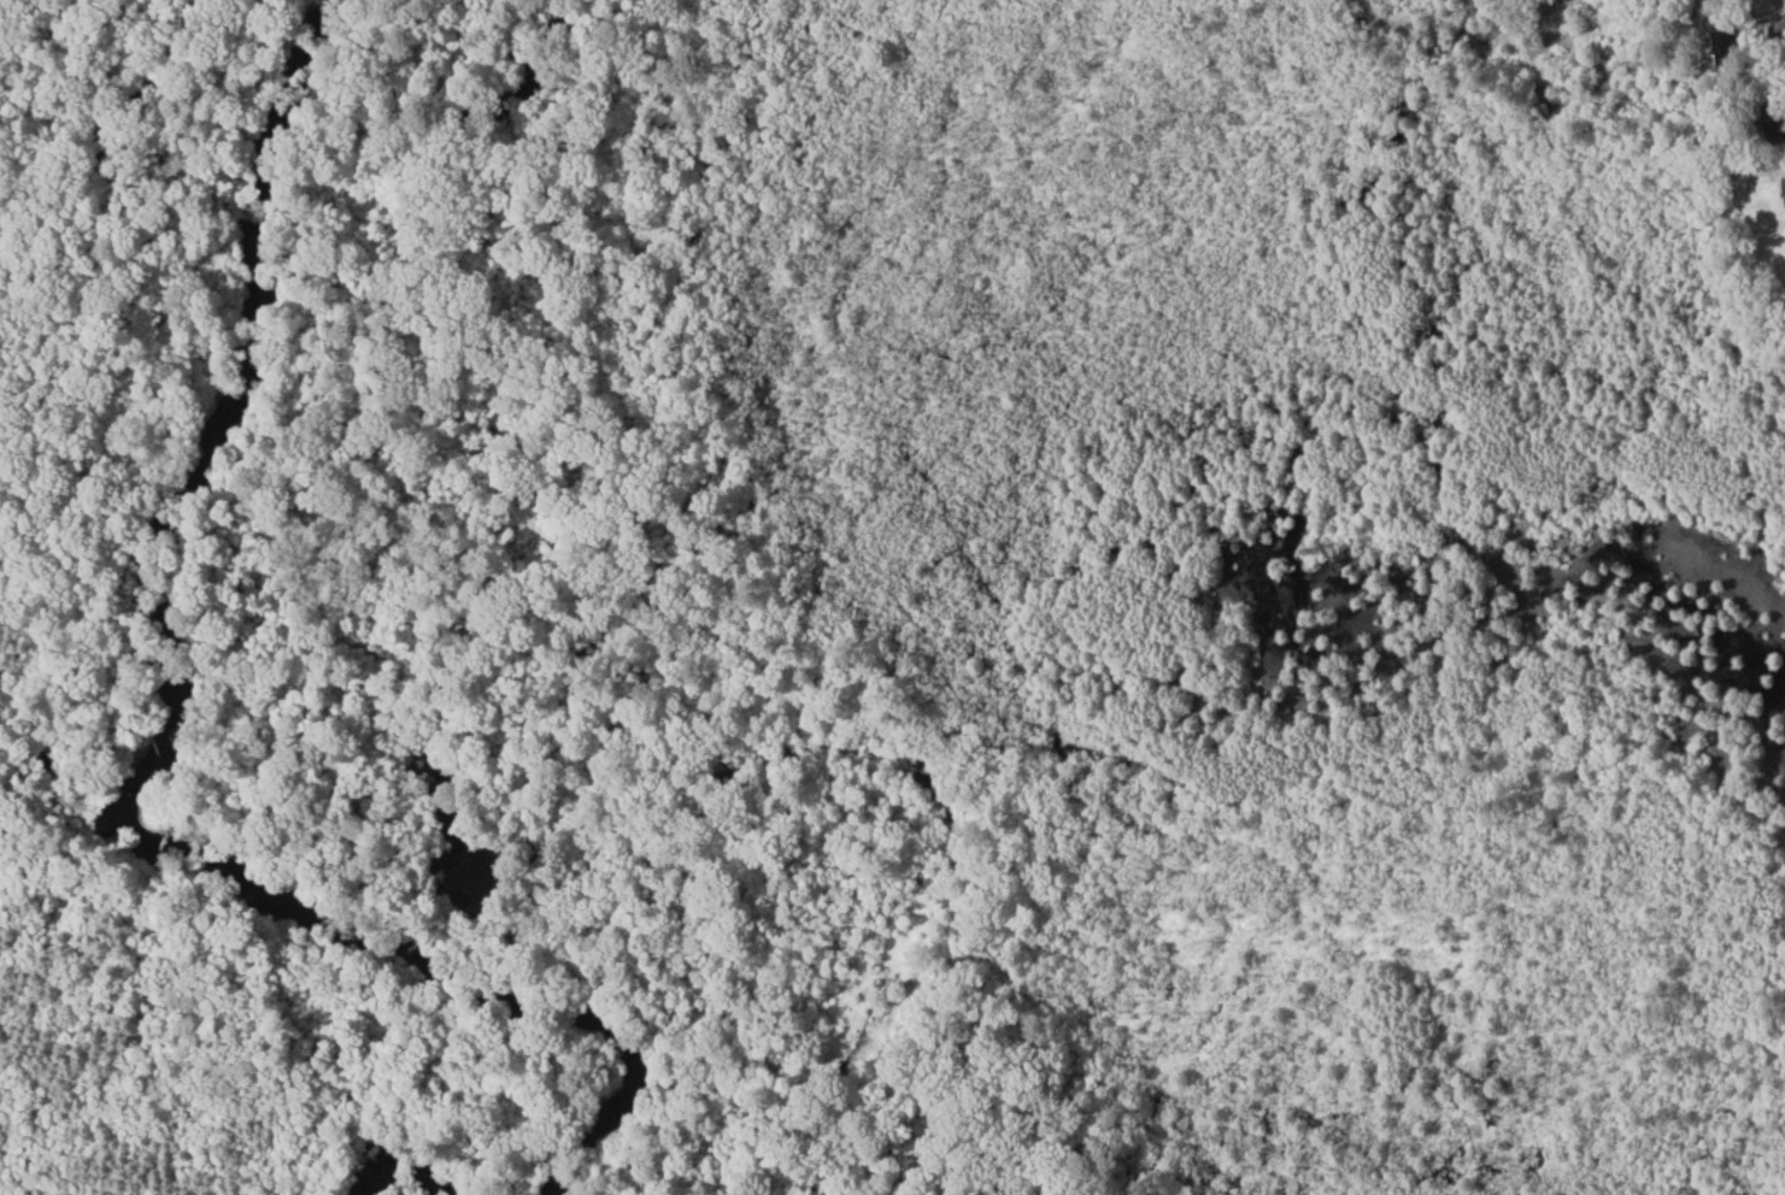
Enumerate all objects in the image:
road: (1774, 37)
building: (1716, 47)

